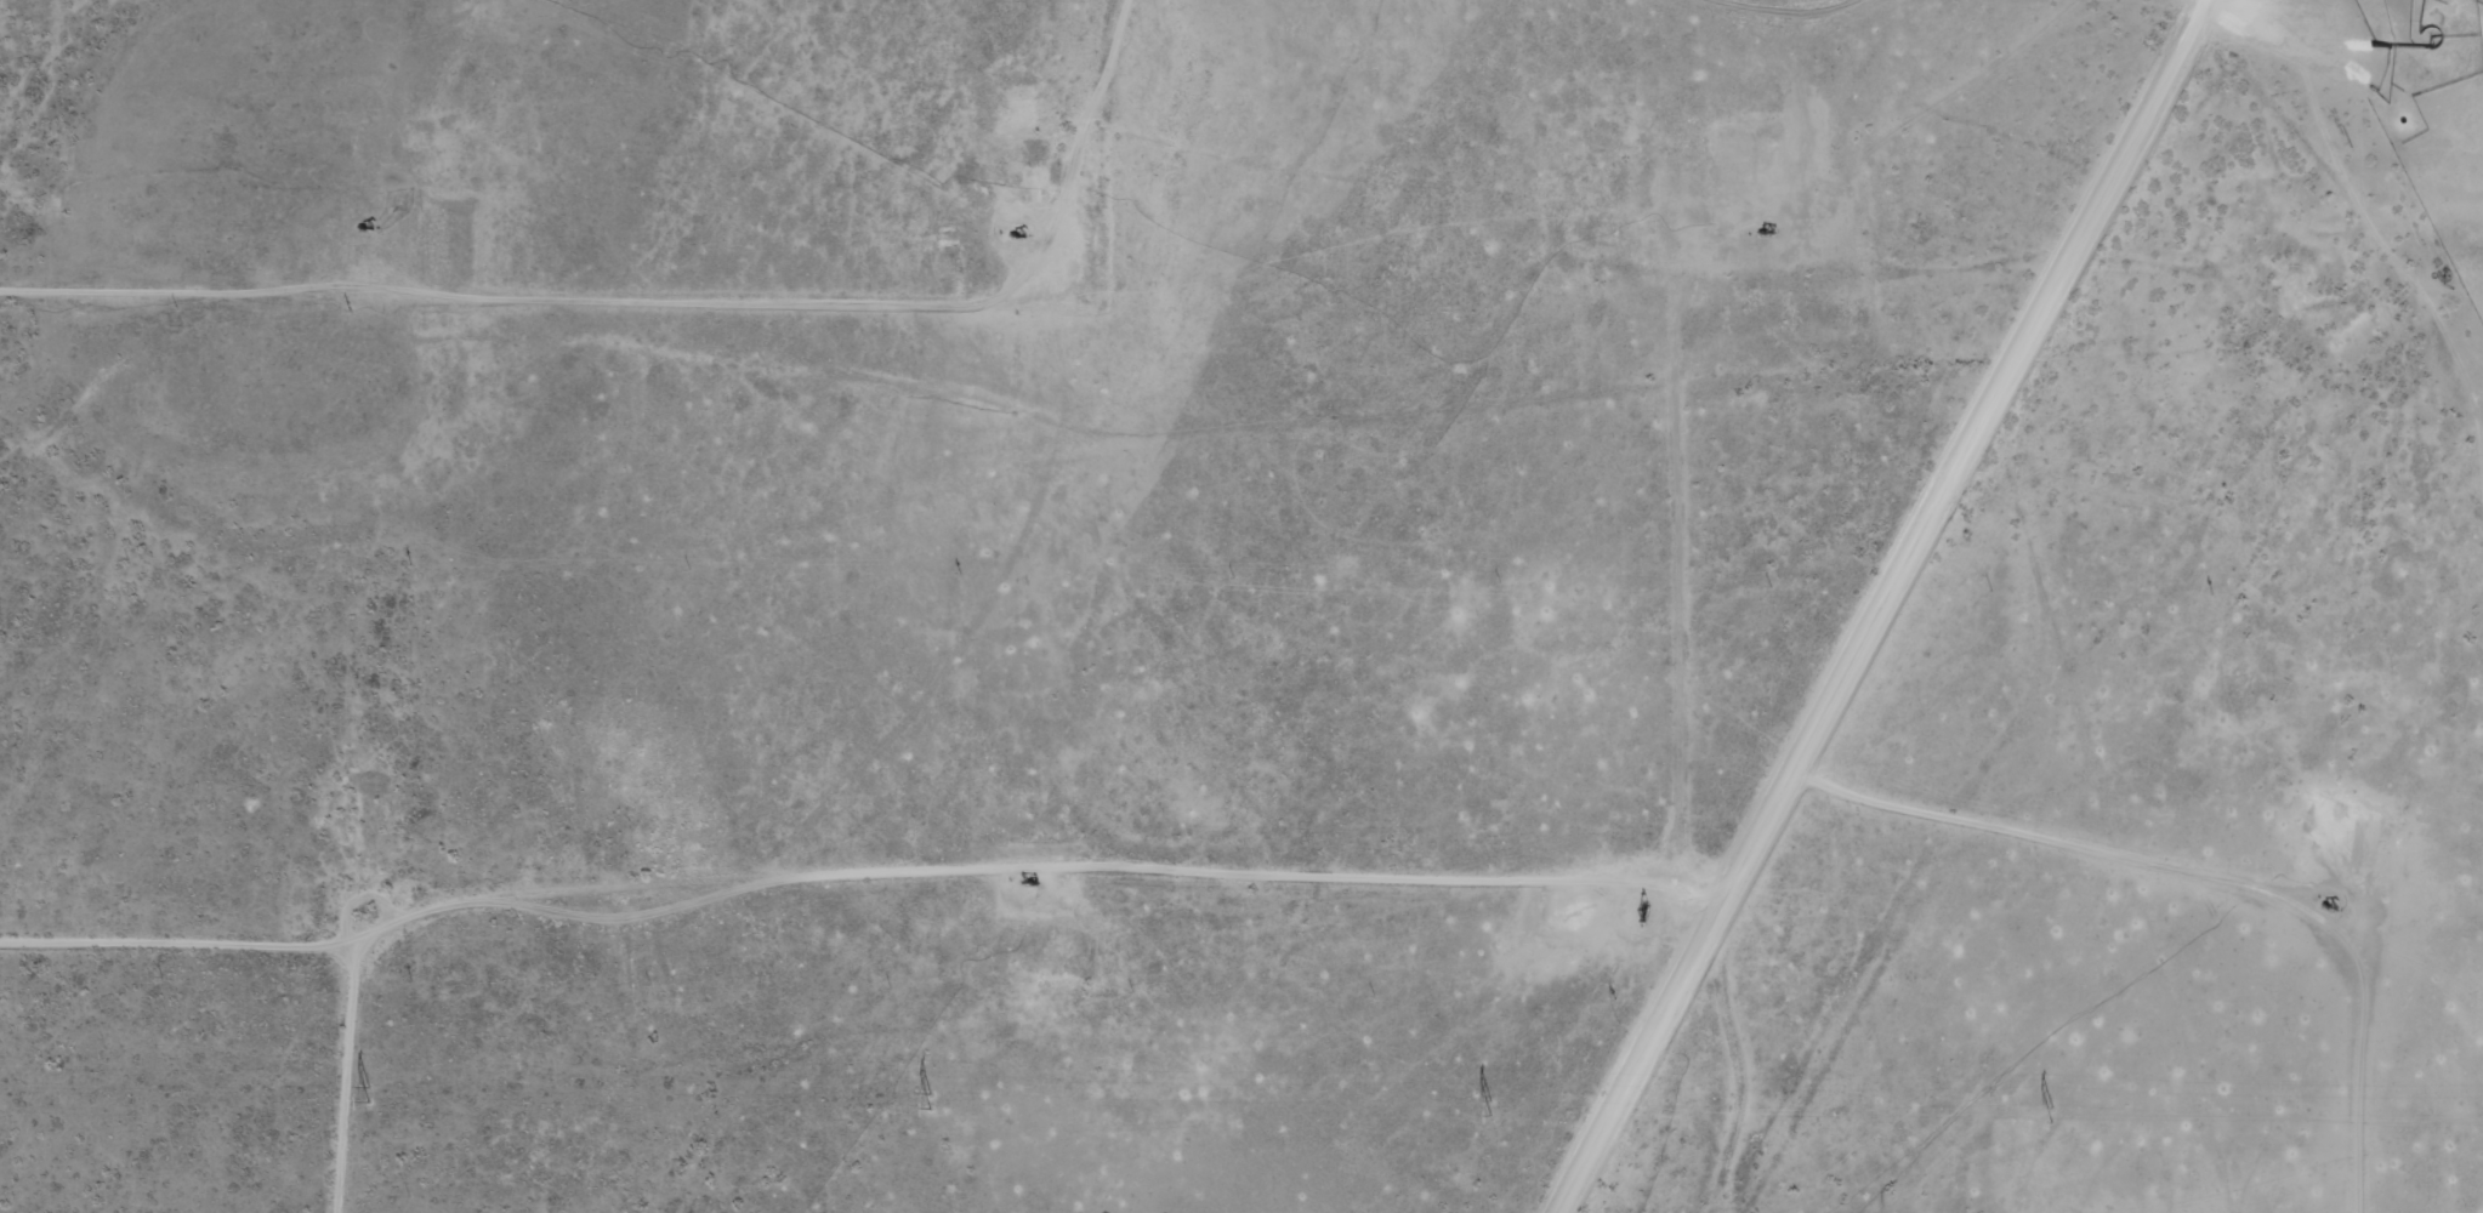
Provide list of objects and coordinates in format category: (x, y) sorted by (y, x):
road: (2346, 177)
road: (1911, 609)
power tower: (368, 1092)
power tower: (928, 1098)
power tower: (1490, 1105)
power tower: (2051, 1112)

